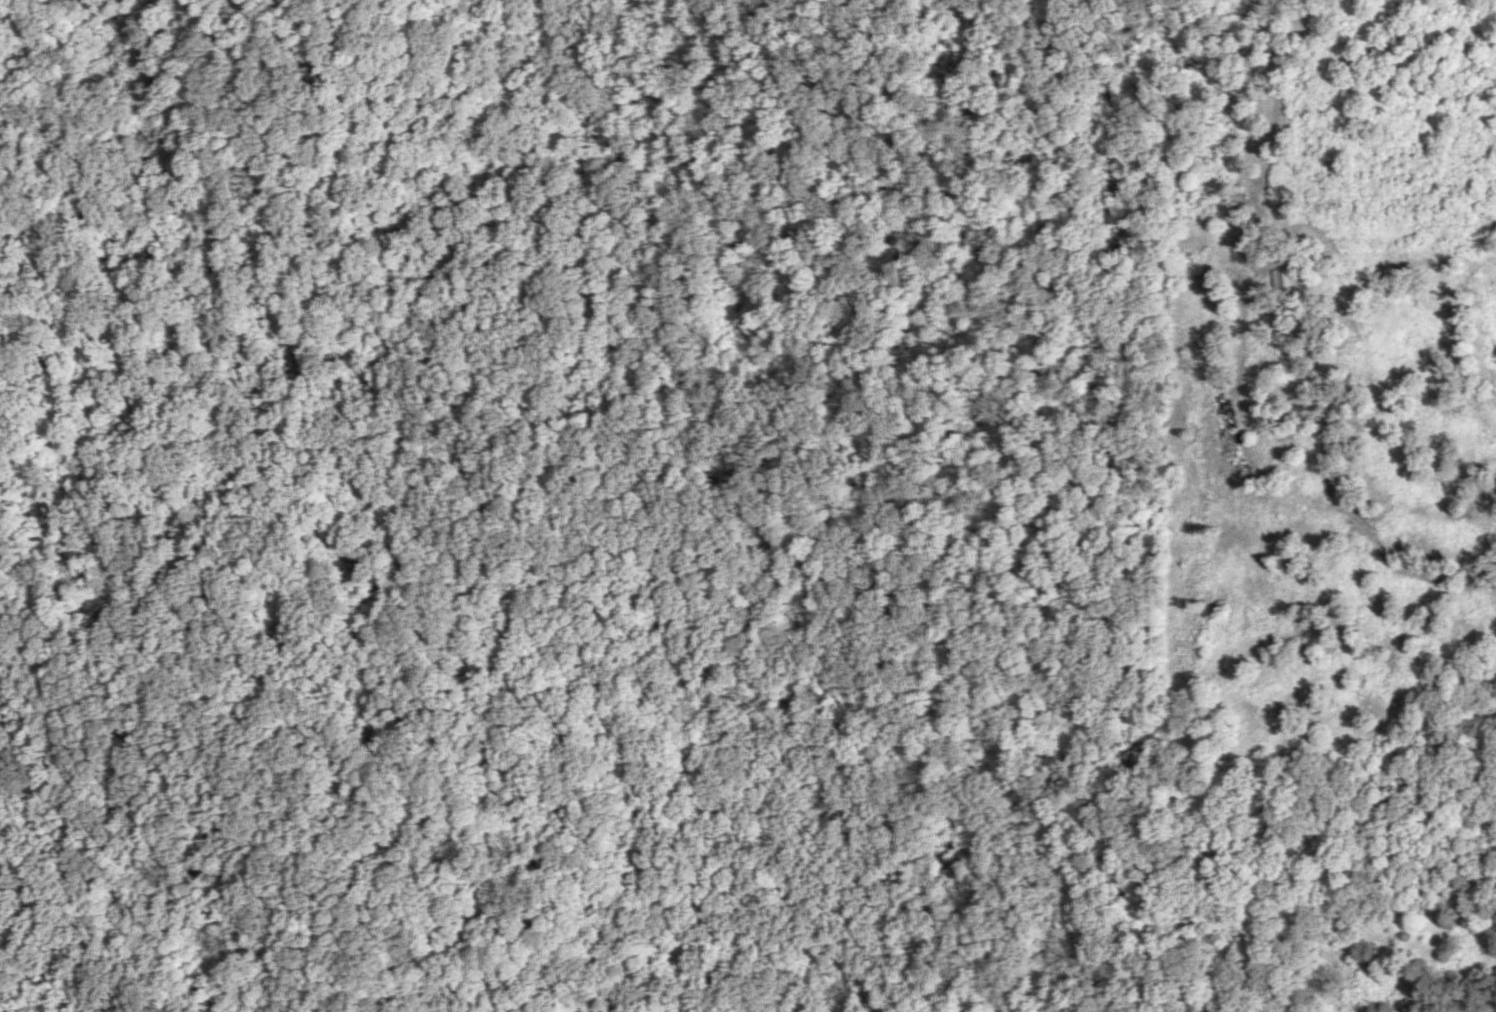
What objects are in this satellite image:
park: (1479, 705)

